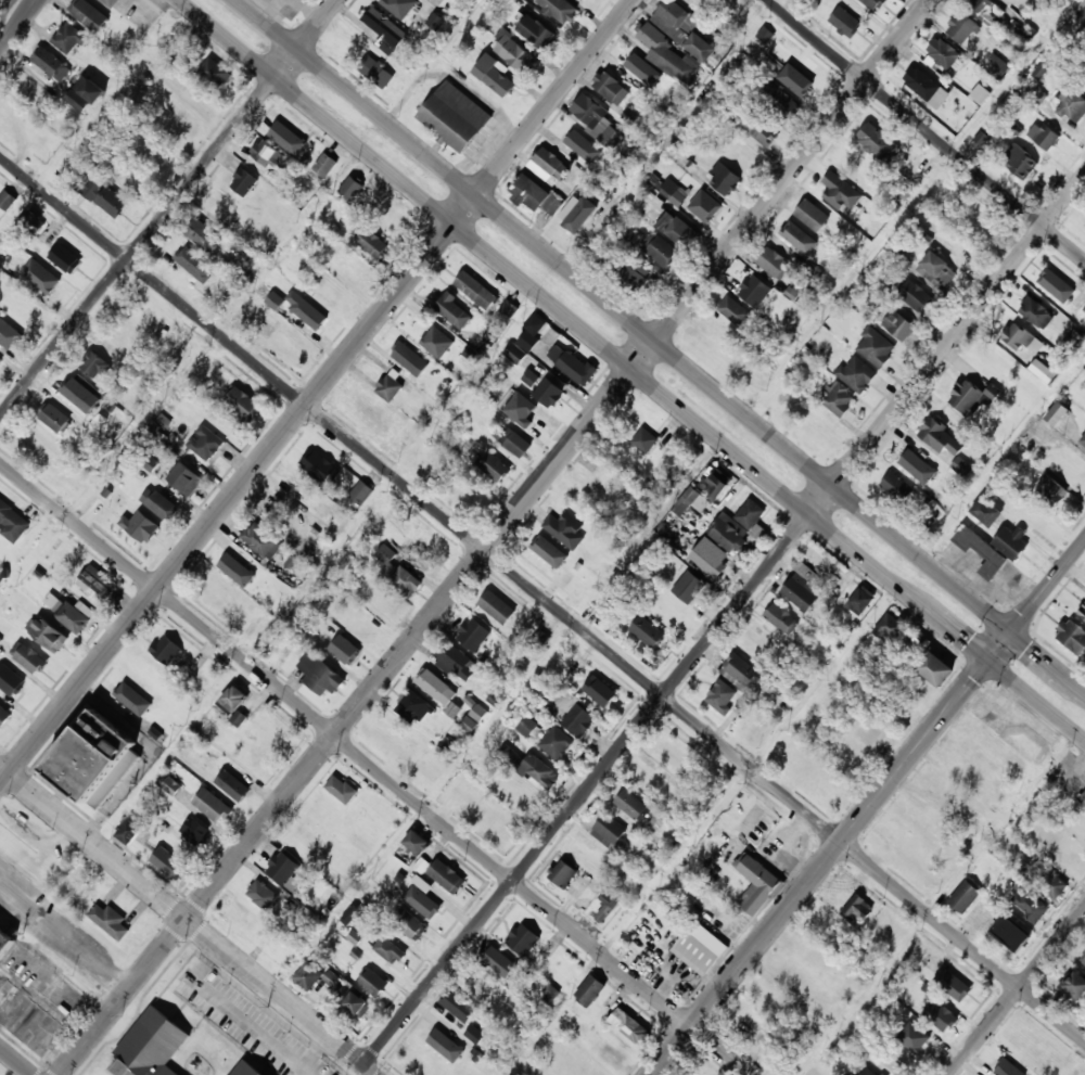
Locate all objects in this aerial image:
building: (110, 2)
building: (694, 3)
building: (876, 3)
road: (4, 4)
building: (400, 7)
building: (559, 9)
building: (1081, 9)
building: (986, 10)
building: (88, 14)
building: (674, 20)
building: (845, 21)
building: (437, 22)
road: (21, 25)
building: (962, 28)
building: (385, 30)
building: (537, 33)
building: (1025, 33)
building: (764, 34)
building: (69, 39)
building: (653, 39)
building: (511, 50)
building: (943, 53)
building: (693, 57)
building: (51, 64)
building: (633, 64)
building: (997, 67)
building: (372, 69)
building: (1084, 72)
building: (215, 73)
building: (496, 75)
building: (801, 77)
building: (26, 85)
building: (611, 87)
building: (927, 87)
building: (979, 93)
building: (86, 94)
building: (782, 99)
building: (1071, 104)
building: (10, 110)
building: (455, 116)
building: (600, 124)
building: (762, 128)
road: (926, 129)
building: (569, 136)
building: (1045, 136)
building: (292, 138)
building: (981, 138)
building: (876, 140)
building: (267, 154)
building: (741, 155)
building: (1021, 162)
building: (551, 163)
building: (324, 165)
building: (921, 168)
building: (723, 178)
building: (243, 181)
building: (350, 187)
building: (839, 191)
building: (674, 192)
building: (535, 194)
building: (105, 197)
building: (7, 200)
building: (695, 202)
road: (18, 208)
road: (169, 209)
building: (812, 215)
building: (390, 218)
building: (30, 221)
building: (572, 222)
building: (676, 229)
building: (204, 235)
building: (796, 238)
building: (952, 241)
building: (372, 243)
building: (663, 253)
building: (246, 255)
building: (66, 259)
building: (774, 263)
building: (194, 264)
building: (937, 271)
building: (633, 274)
building: (46, 280)
building: (1058, 285)
building: (476, 290)
building: (754, 290)
building: (916, 296)
building: (275, 299)
building: (1084, 307)
building: (26, 309)
building: (733, 310)
building: (454, 311)
building: (507, 312)
building: (1036, 312)
building: (310, 318)
building: (898, 324)
building: (9, 334)
building: (1018, 337)
building: (527, 340)
building: (435, 341)
building: (1071, 344)
road: (661, 345)
building: (875, 348)
building: (514, 353)
building: (409, 358)
building: (0, 361)
building: (93, 364)
building: (576, 368)
road: (633, 370)
building: (1042, 370)
building: (856, 373)
building: (531, 377)
building: (1083, 385)
building: (388, 387)
road: (317, 393)
building: (548, 393)
building: (971, 395)
building: (86, 398)
building: (839, 398)
building: (243, 405)
building: (528, 414)
building: (53, 417)
building: (1049, 422)
building: (113, 431)
building: (644, 439)
building: (1083, 440)
building: (513, 441)
building: (945, 443)
building: (205, 444)
building: (914, 463)
building: (319, 466)
building: (495, 468)
building: (1071, 469)
building: (184, 478)
building: (715, 483)
building: (897, 488)
building: (1050, 490)
building: (361, 492)
building: (695, 499)
building: (100, 503)
building: (159, 503)
building: (986, 511)
building: (750, 514)
building: (12, 521)
building: (141, 527)
building: (564, 529)
building: (757, 532)
building: (727, 535)
road: (496, 537)
building: (261, 540)
building: (1010, 541)
building: (541, 548)
building: (983, 553)
building: (709, 561)
building: (815, 563)
building: (239, 568)
building: (398, 573)
building: (833, 581)
building: (95, 584)
building: (689, 587)
building: (801, 592)
building: (217, 593)
road: (542, 596)
building: (861, 599)
building: (386, 605)
building: (497, 607)
building: (1082, 612)
building: (71, 616)
road: (725, 619)
building: (781, 619)
building: (362, 627)
building: (890, 627)
building: (648, 631)
traffic signals: (1011, 631)
building: (473, 634)
building: (49, 635)
building: (1072, 636)
building: (539, 638)
building: (918, 638)
building: (0, 639)
building: (166, 649)
building: (345, 650)
building: (30, 658)
traffic signals: (988, 661)
building: (457, 663)
building: (936, 669)
building: (743, 675)
building: (322, 676)
building: (436, 687)
building: (20, 688)
building: (600, 691)
building: (129, 696)
building: (722, 696)
building: (234, 700)
building: (414, 708)
building: (452, 709)
building: (477, 712)
building: (4, 717)
building: (578, 719)
building: (469, 722)
building: (526, 726)
building: (762, 731)
building: (556, 743)
building: (980, 743)
building: (672, 755)
building: (93, 756)
building: (256, 762)
building: (528, 766)
road: (376, 767)
road: (751, 770)
building: (651, 781)
building: (829, 784)
building: (170, 785)
building: (233, 785)
building: (935, 786)
building: (342, 790)
building: (518, 794)
building: (1083, 798)
building: (213, 806)
building: (633, 806)
road: (426, 807)
road: (869, 807)
building: (912, 817)
building: (611, 829)
building: (1076, 829)
building: (129, 832)
building: (195, 832)
building: (302, 841)
building: (416, 842)
building: (961, 850)
building: (1071, 856)
building: (168, 863)
building: (283, 868)
building: (563, 873)
building: (447, 876)
building: (1044, 880)
building: (422, 883)
building: (758, 884)
building: (263, 895)
building: (965, 897)
building: (429, 904)
road: (939, 904)
building: (1031, 905)
building: (605, 906)
building: (857, 910)
building: (349, 914)
road: (190, 920)
building: (111, 922)
building: (409, 924)
building: (1013, 934)
building: (524, 939)
building: (5, 945)
building: (387, 948)
building: (701, 949)
building: (1083, 959)
building: (501, 962)
building: (1084, 963)
building: (308, 976)
building: (331, 977)
building: (374, 983)
building: (485, 986)
building: (1075, 986)
building: (591, 990)
road: (1017, 990)
building: (550, 991)
building: (961, 991)
building: (353, 1002)
building: (461, 1008)
building: (943, 1016)
building: (629, 1026)
building: (474, 1034)
building: (443, 1037)
building: (917, 1038)
building: (557, 1042)
building: (151, 1046)
building: (1033, 1047)
road: (16, 1061)
building: (1008, 1068)
building: (246, 1070)
building: (871, 1072)
building: (882, 1073)

